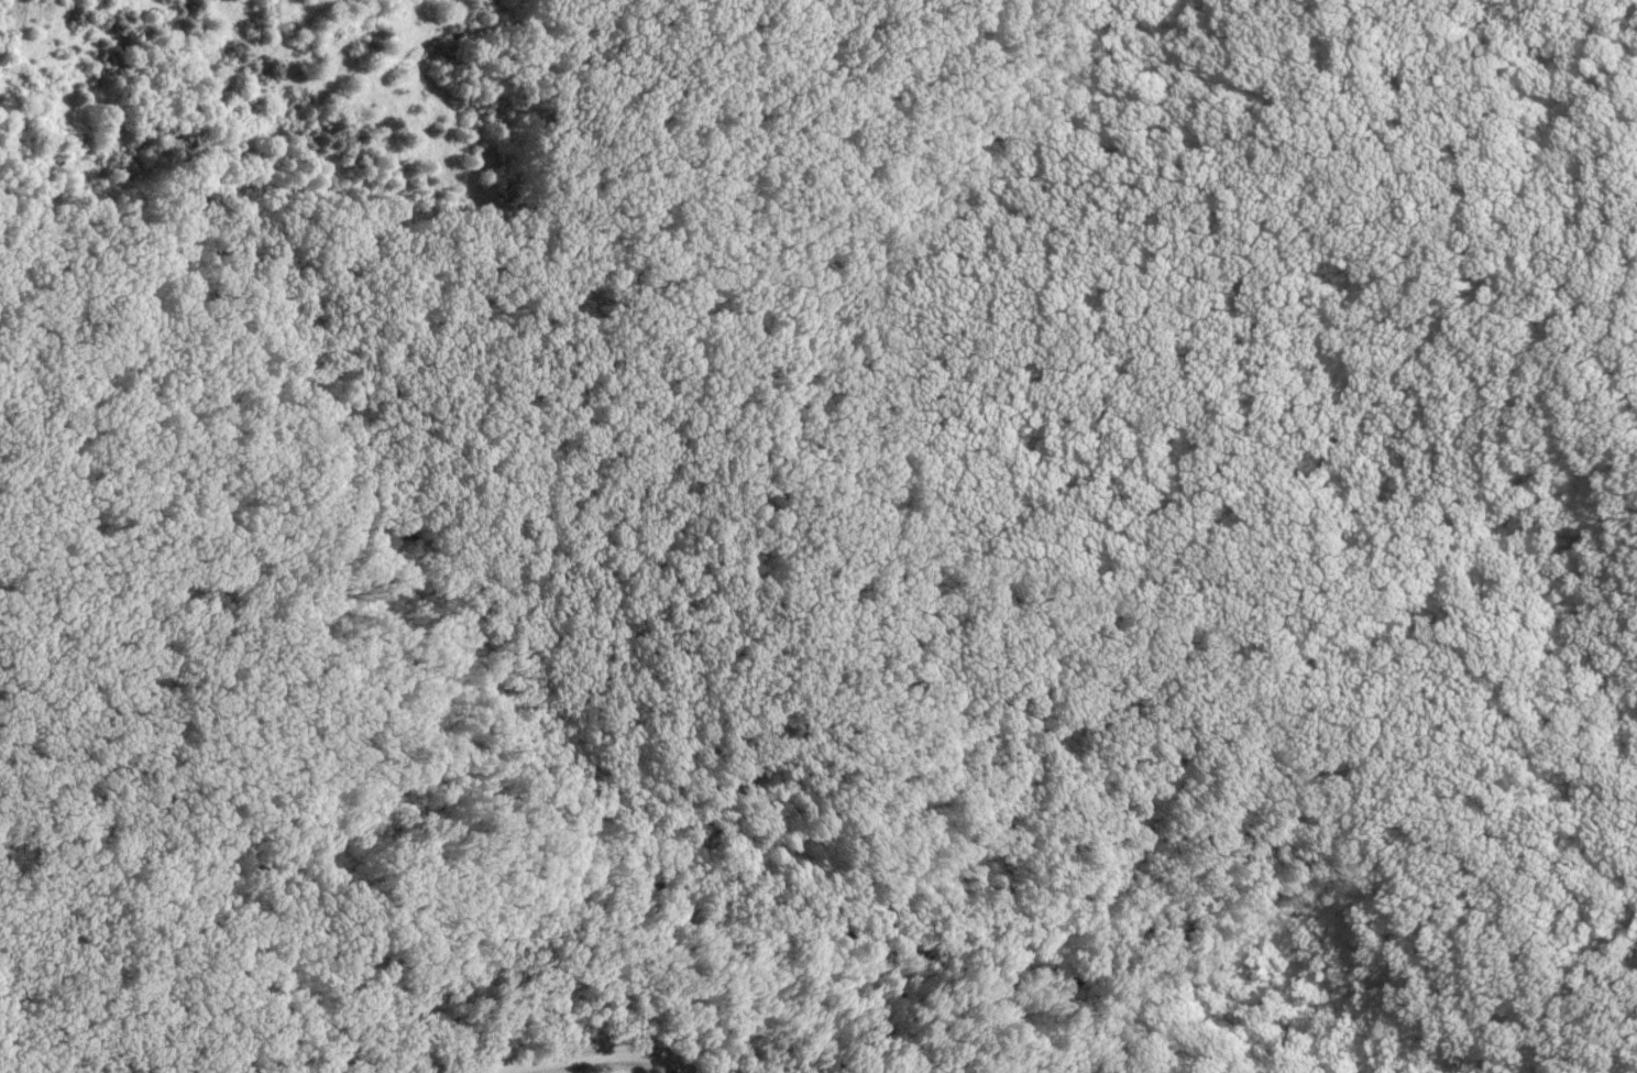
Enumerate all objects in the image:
road: (602, 1063)

